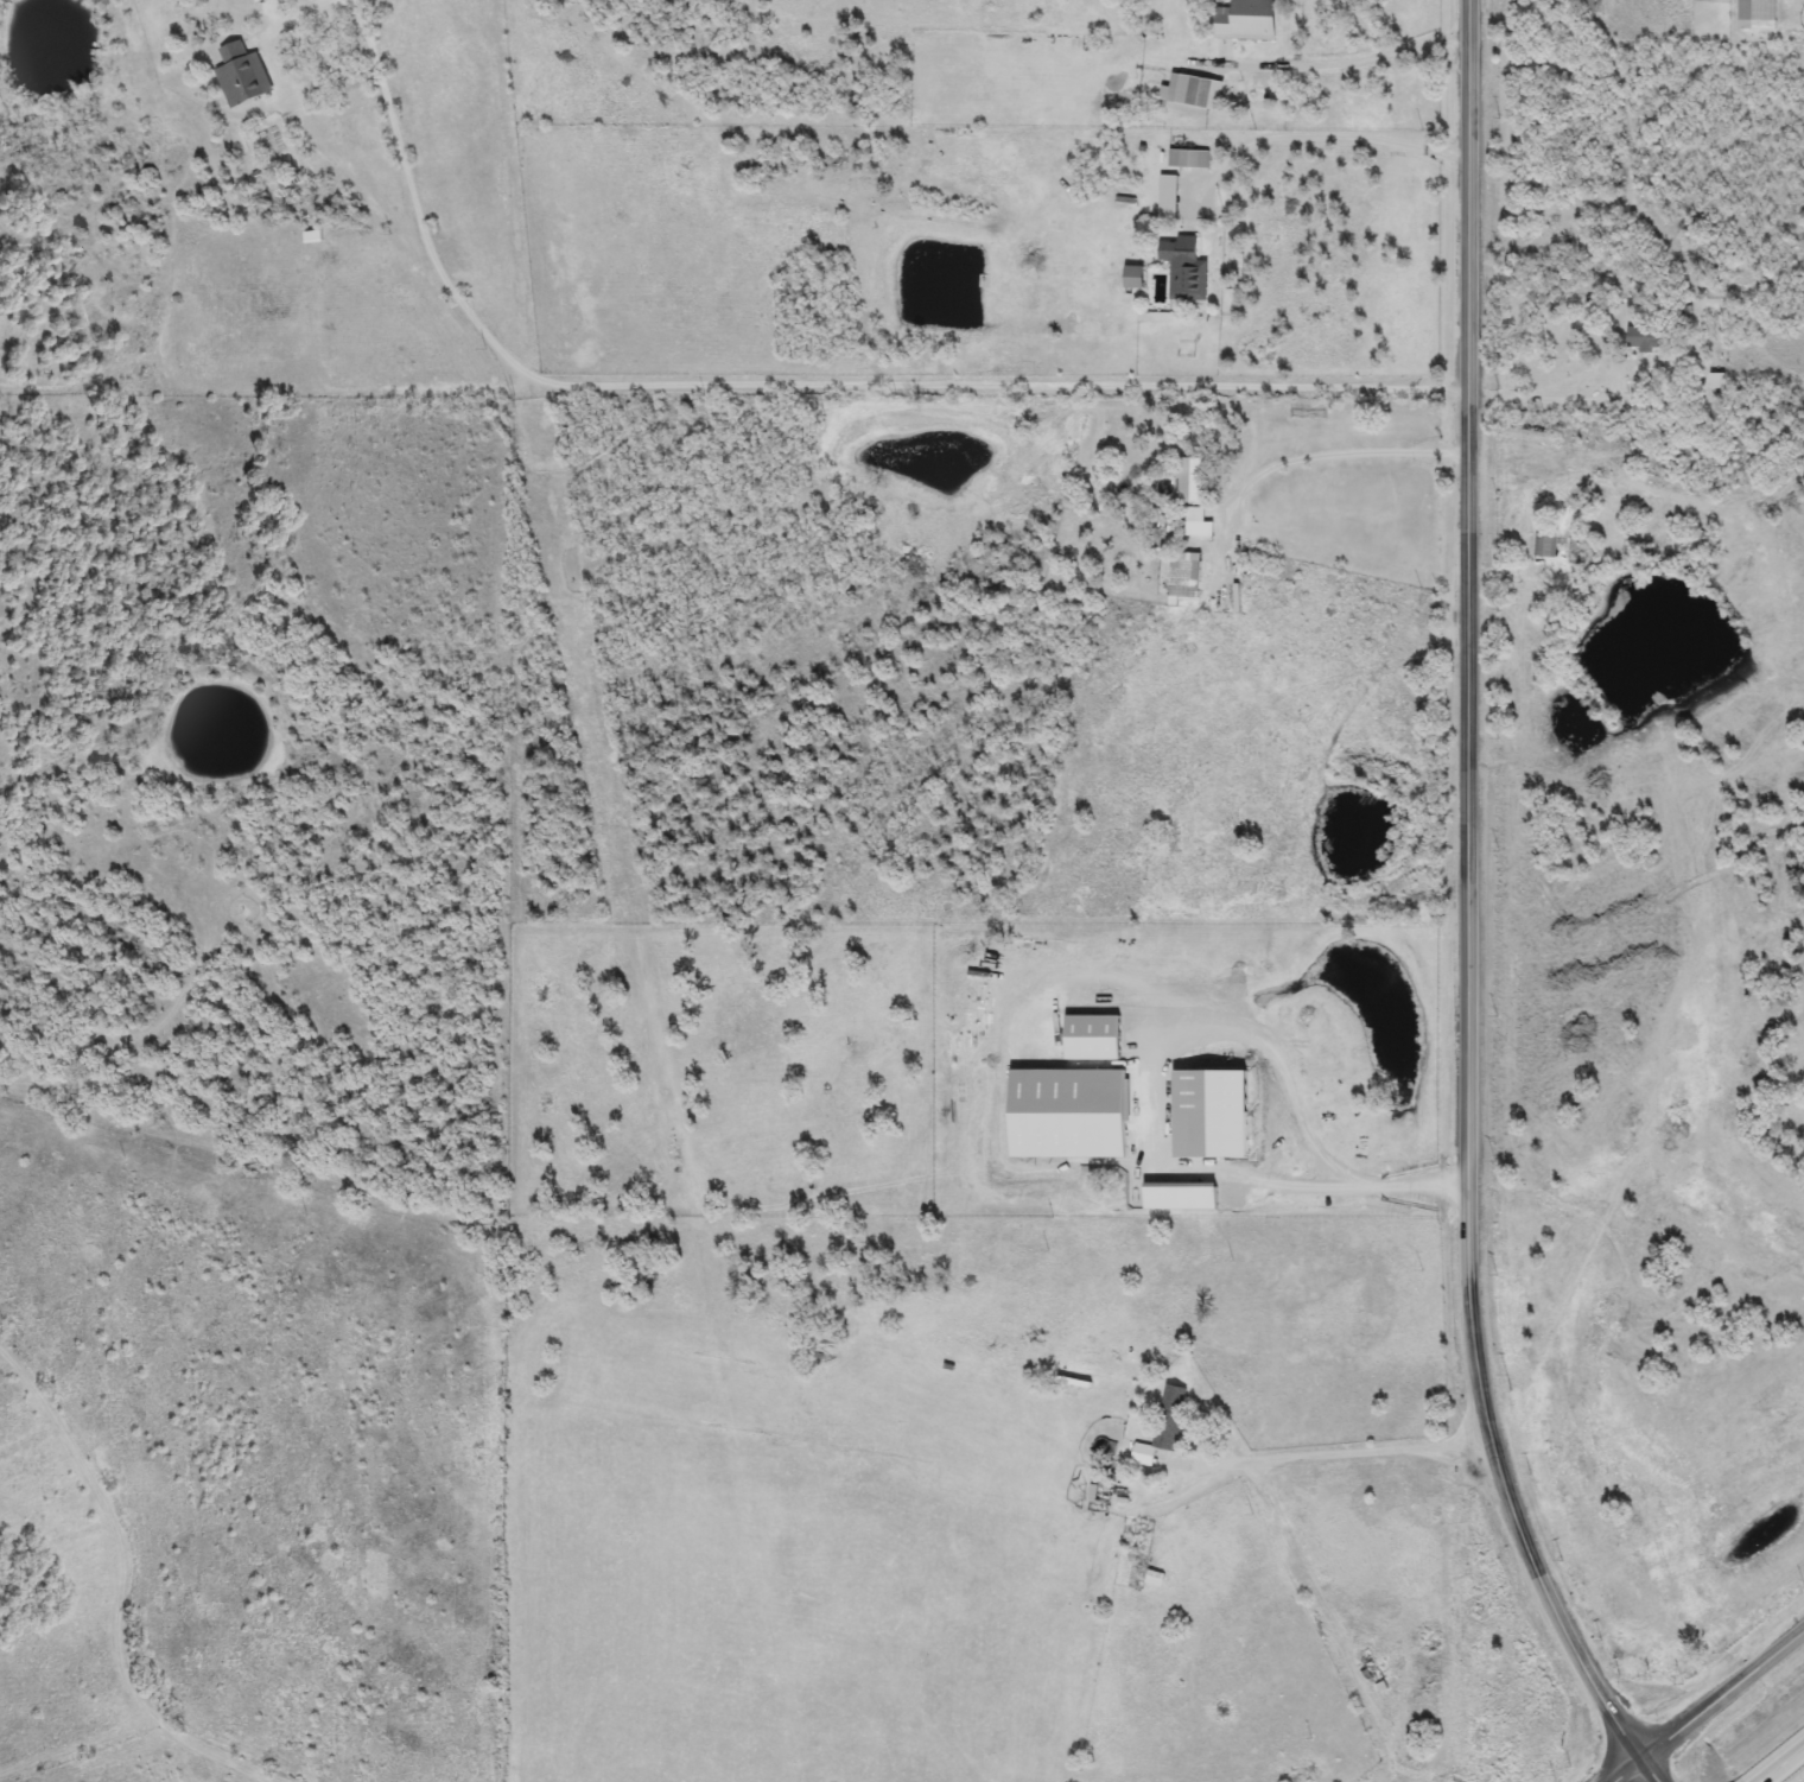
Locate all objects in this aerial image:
building: (256, 1)
building: (1594, 6)
road: (305, 12)
building: (1245, 20)
road: (1346, 61)
building: (240, 75)
building: (1192, 94)
road: (1329, 137)
building: (1187, 159)
building: (1183, 269)
building: (1131, 278)
building: (1643, 338)
road: (783, 383)
road: (1482, 398)
road: (1548, 399)
building: (1532, 437)
road: (1334, 455)
building: (1189, 481)
building: (1544, 545)
building: (1183, 579)
road: (1469, 911)
road: (1264, 1185)
building: (1158, 1415)
road: (1319, 1451)
road: (1450, 1606)
road: (1329, 1622)
road: (1704, 1701)
road: (1774, 1759)
road: (1430, 1773)
road: (1387, 1775)

